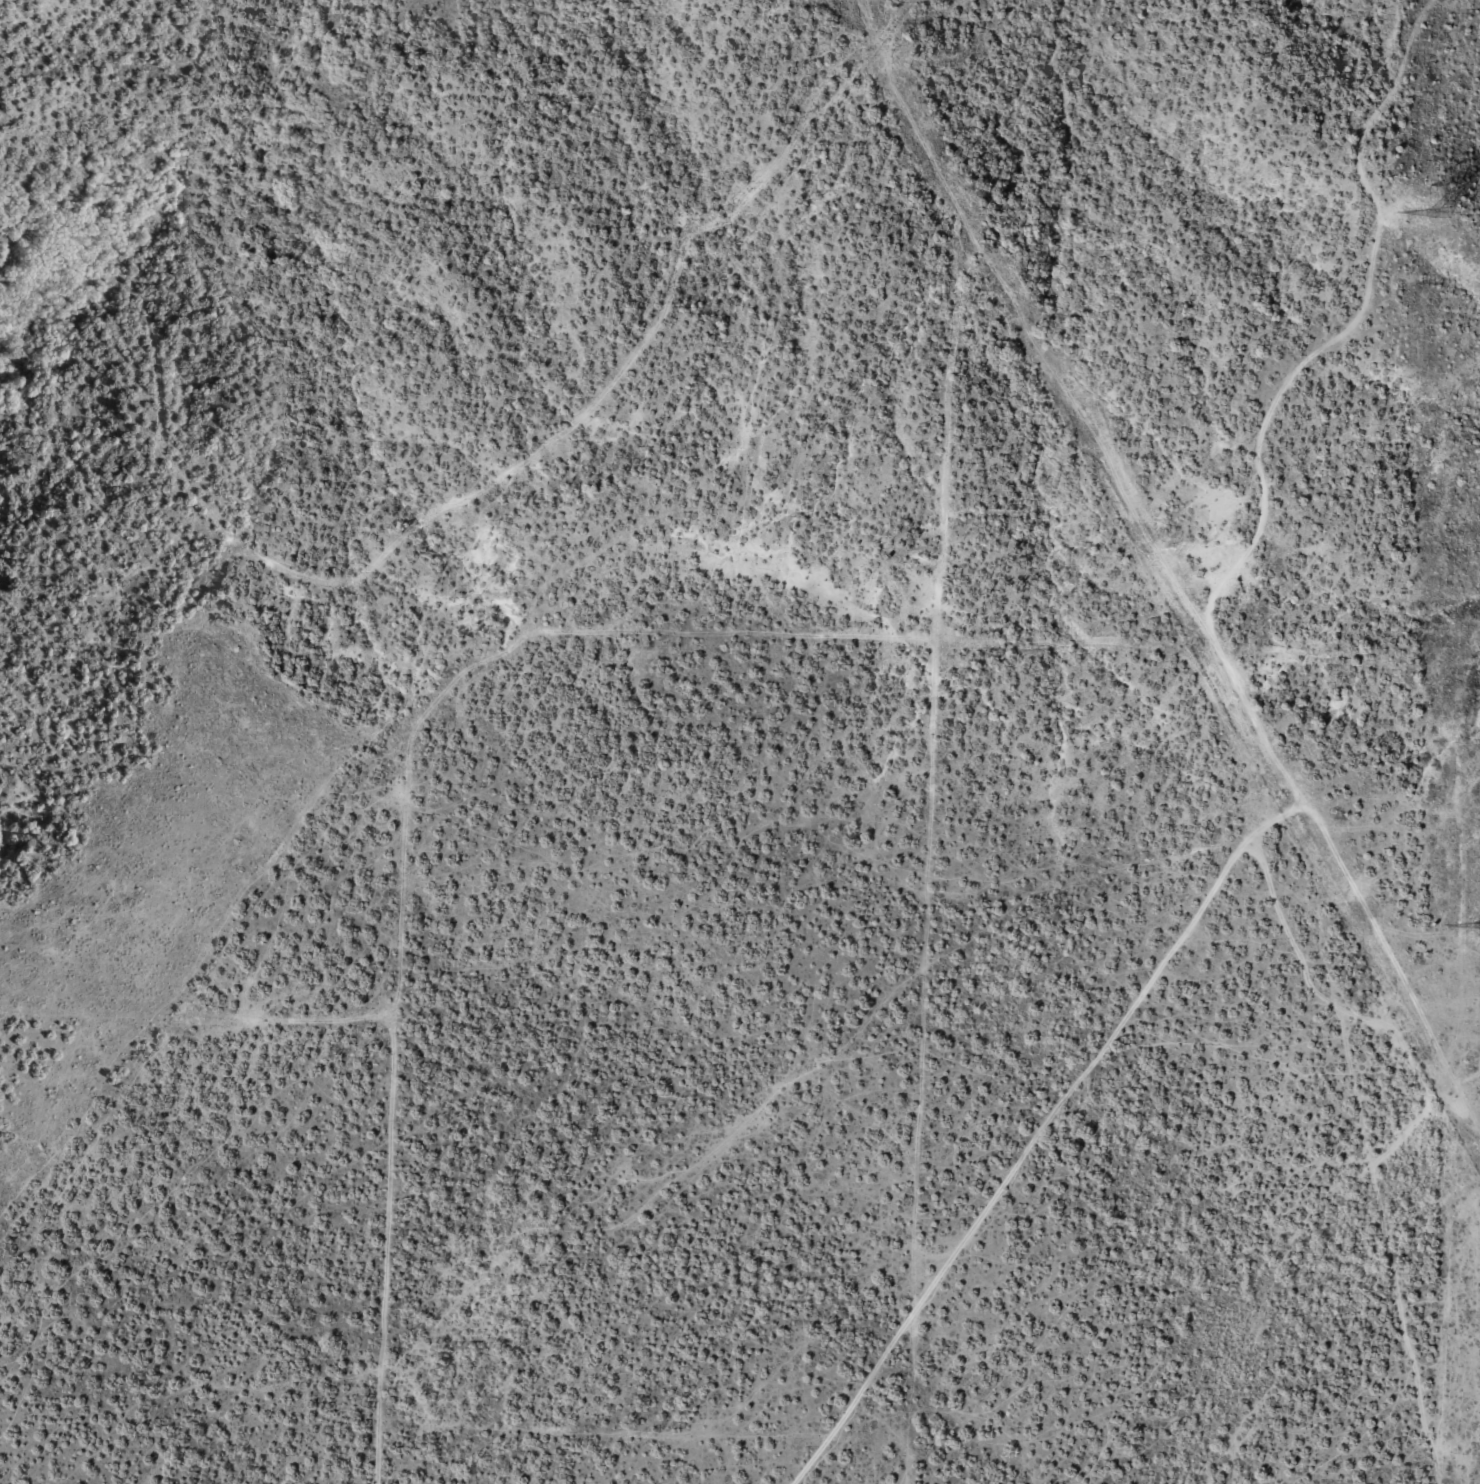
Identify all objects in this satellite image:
power tower: (1444, 209)

